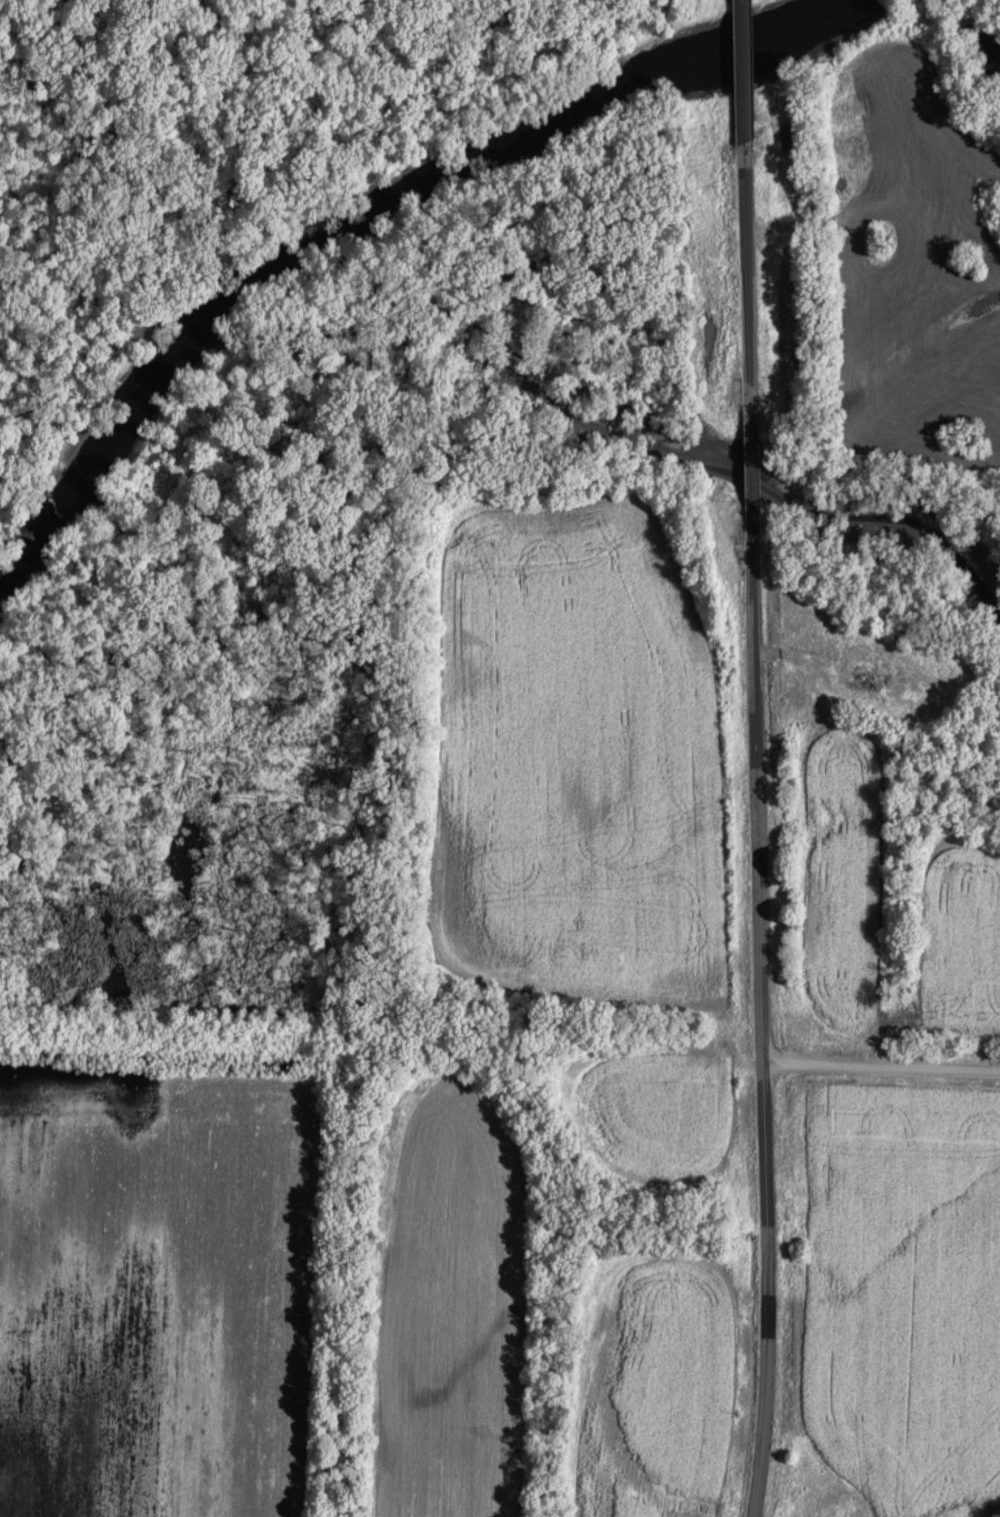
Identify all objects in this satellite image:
road: (756, 758)
road: (882, 1066)

